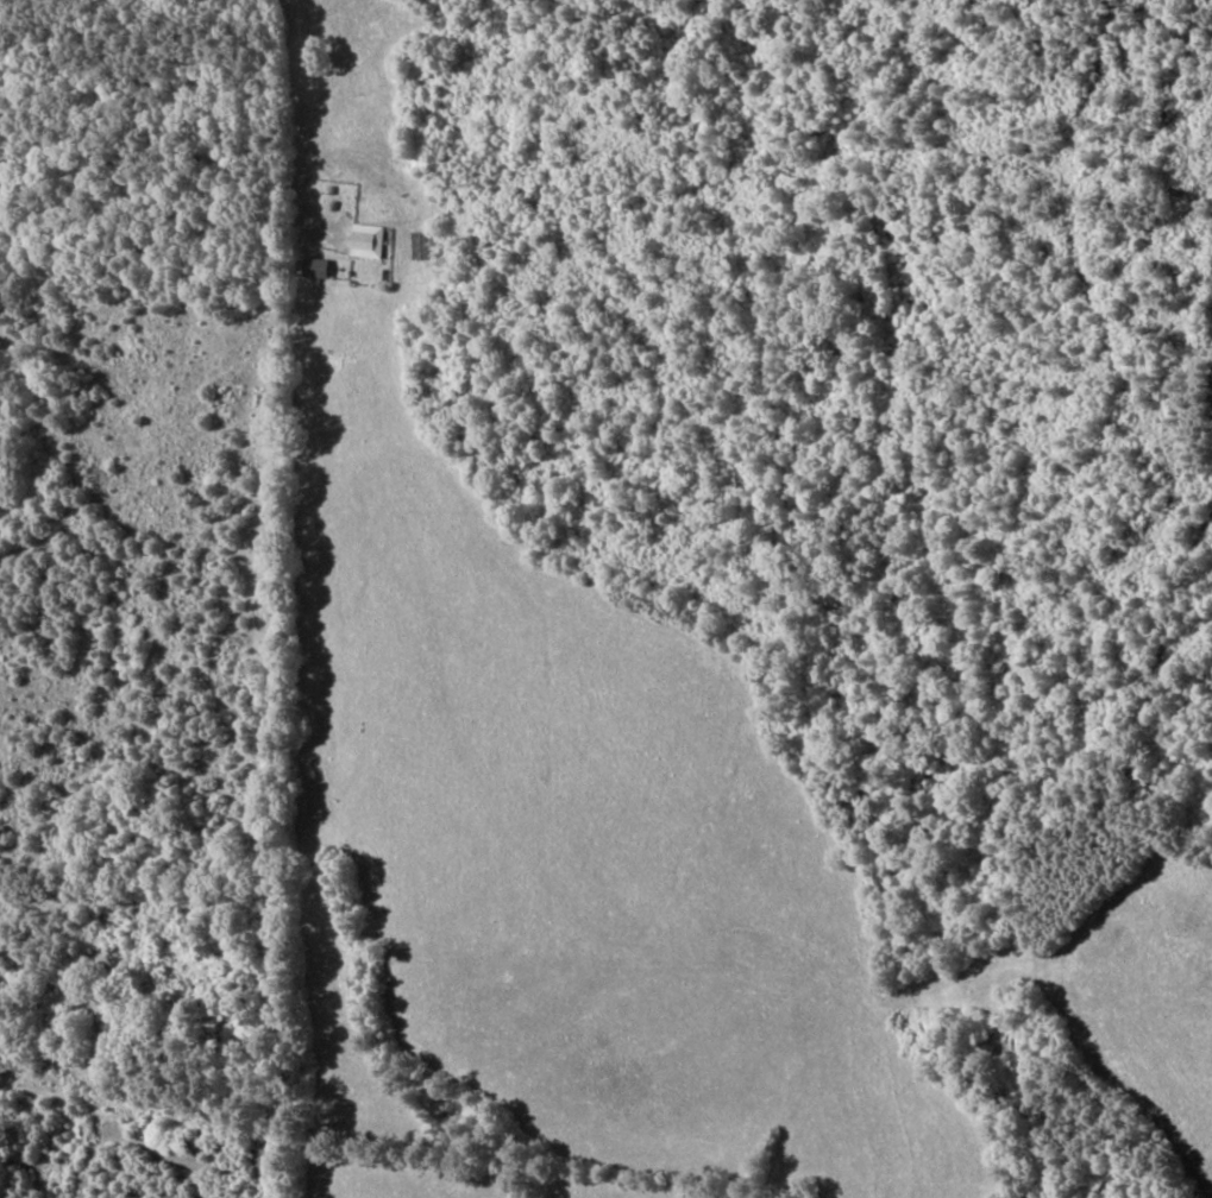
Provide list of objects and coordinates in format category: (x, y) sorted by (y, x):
building: (366, 240)
building: (421, 245)
building: (315, 267)

